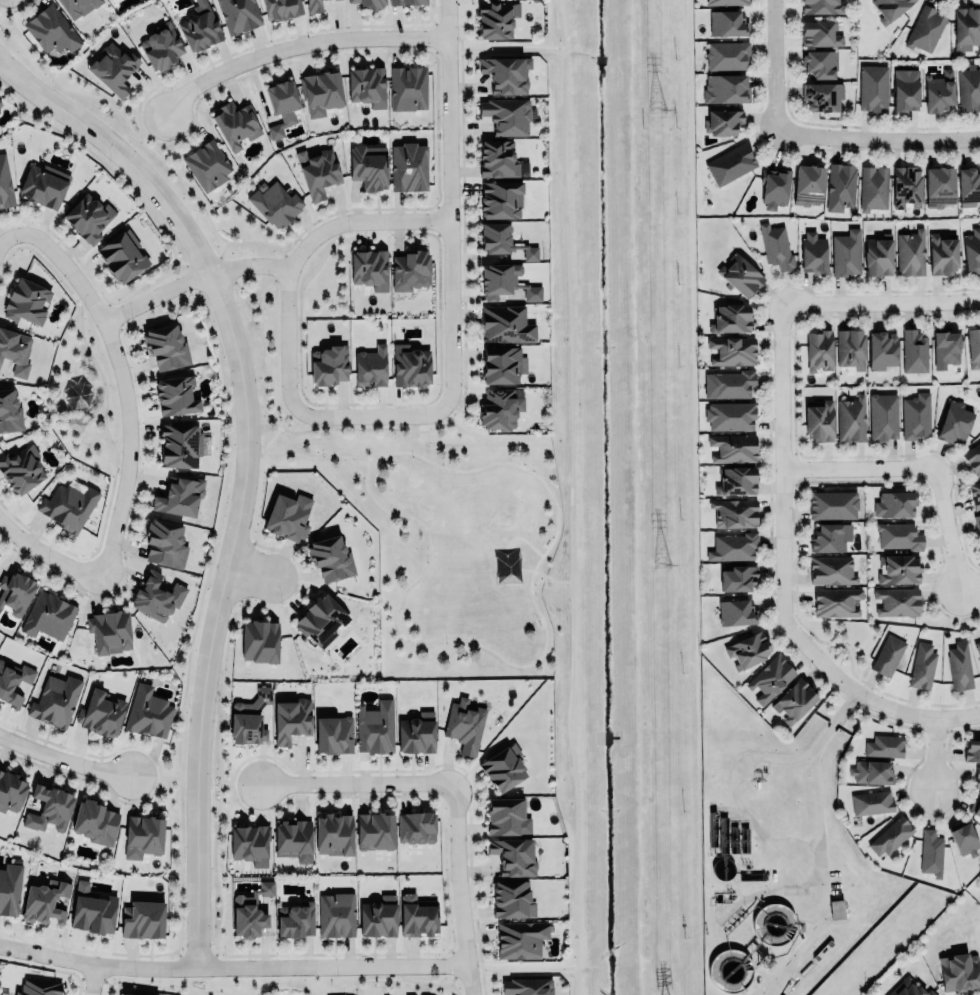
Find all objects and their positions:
building: (405, 1)
building: (726, 2)
building: (369, 3)
building: (77, 5)
building: (313, 6)
building: (821, 6)
building: (890, 8)
building: (282, 9)
building: (239, 14)
building: (497, 18)
building: (727, 24)
building: (967, 25)
building: (200, 27)
building: (926, 28)
building: (51, 29)
building: (820, 33)
road: (295, 42)
building: (162, 46)
road: (505, 48)
building: (727, 55)
building: (820, 64)
building: (114, 65)
road: (778, 65)
building: (506, 74)
building: (367, 86)
building: (408, 87)
building: (969, 87)
building: (725, 88)
building: (873, 88)
building: (905, 90)
building: (321, 91)
building: (939, 91)
building: (822, 95)
building: (0, 99)
building: (280, 102)
power tower: (656, 111)
building: (507, 115)
building: (722, 122)
building: (236, 125)
road: (141, 129)
road: (879, 139)
building: (498, 159)
building: (407, 164)
building: (731, 164)
building: (207, 165)
building: (369, 166)
building: (317, 172)
building: (5, 183)
building: (808, 184)
building: (968, 184)
building: (44, 185)
building: (840, 186)
building: (906, 186)
building: (939, 186)
building: (775, 187)
building: (874, 188)
building: (501, 199)
building: (275, 202)
road: (449, 203)
building: (87, 214)
road: (9, 228)
building: (496, 238)
building: (776, 246)
road: (301, 250)
building: (972, 251)
building: (530, 253)
building: (813, 253)
building: (845, 253)
building: (911, 254)
building: (942, 254)
building: (878, 255)
building: (123, 256)
building: (368, 265)
building: (409, 266)
road: (196, 271)
building: (740, 275)
building: (504, 276)
road: (880, 299)
building: (27, 301)
building: (731, 318)
building: (505, 324)
building: (166, 343)
building: (851, 347)
building: (973, 347)
building: (946, 349)
building: (15, 350)
building: (732, 350)
building: (818, 350)
building: (882, 351)
building: (914, 351)
building: (503, 364)
building: (329, 365)
building: (371, 366)
building: (410, 366)
road: (122, 381)
building: (732, 383)
building: (176, 395)
building: (502, 409)
road: (374, 410)
building: (10, 412)
building: (730, 415)
building: (917, 416)
building: (883, 417)
building: (850, 419)
building: (820, 422)
building: (955, 423)
road: (271, 438)
building: (181, 446)
building: (733, 447)
road: (779, 453)
street lamp: (322, 455)
road: (318, 457)
street lamp: (412, 457)
building: (973, 458)
road: (244, 464)
building: (21, 466)
road: (919, 467)
street lamp: (533, 468)
building: (736, 481)
building: (975, 494)
building: (179, 497)
road: (569, 497)
road: (693, 497)
building: (895, 504)
building: (832, 505)
building: (68, 507)
building: (734, 512)
building: (288, 516)
building: (976, 521)
building: (899, 535)
building: (831, 536)
building: (163, 539)
park: (449, 543)
building: (733, 547)
road: (45, 554)
building: (331, 558)
street lamp: (426, 560)
power tower: (662, 565)
building: (898, 569)
road: (251, 570)
building: (831, 570)
building: (737, 578)
road: (550, 579)
street lamp: (535, 584)
building: (16, 592)
building: (156, 597)
building: (898, 601)
building: (836, 602)
building: (735, 612)
building: (48, 616)
building: (321, 620)
building: (109, 631)
building: (259, 641)
street lamp: (446, 644)
building: (977, 646)
road: (542, 650)
building: (748, 651)
building: (888, 655)
building: (922, 666)
building: (959, 666)
building: (770, 678)
building: (13, 682)
road: (860, 694)
building: (55, 700)
building: (794, 701)
building: (148, 712)
building: (101, 714)
building: (249, 719)
building: (291, 719)
building: (465, 724)
building: (376, 728)
building: (418, 733)
building: (333, 734)
building: (884, 746)
building: (972, 751)
road: (931, 752)
road: (63, 759)
building: (505, 768)
building: (872, 773)
road: (163, 775)
building: (977, 777)
road: (357, 781)
road: (229, 784)
building: (10, 791)
building: (871, 802)
building: (975, 808)
building: (49, 809)
building: (507, 817)
building: (95, 822)
building: (374, 827)
building: (416, 828)
building: (334, 834)
building: (890, 835)
building: (143, 836)
building: (293, 839)
building: (964, 840)
building: (250, 844)
building: (931, 853)
building: (514, 857)
building: (9, 885)
road: (458, 887)
building: (512, 899)
building: (44, 901)
building: (836, 909)
building: (94, 914)
building: (337, 915)
building: (418, 916)
building: (378, 918)
building: (246, 919)
building: (143, 920)
building: (295, 921)
building: (520, 939)
road: (232, 966)
road: (521, 968)
building: (960, 972)
road: (89, 978)
road: (290, 980)
building: (527, 985)
building: (39, 987)
building: (908, 988)
building: (134, 993)

